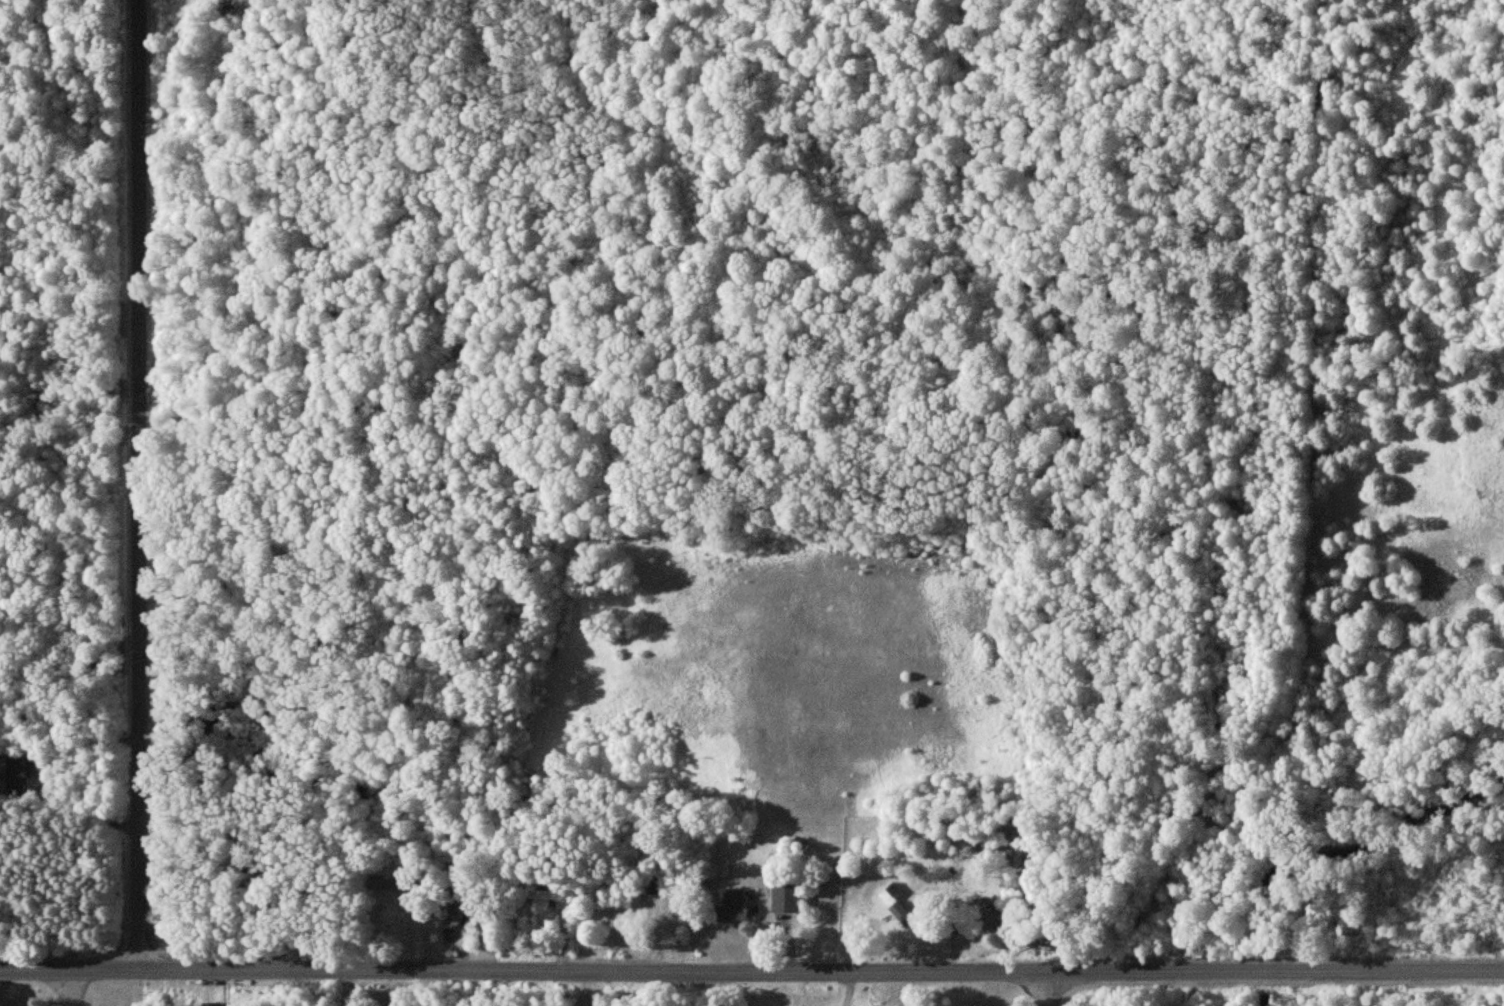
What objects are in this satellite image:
road: (140, 485)
building: (20, 772)
building: (390, 883)
building: (787, 896)
building: (542, 897)
building: (900, 904)
road: (752, 974)
road: (77, 988)
road: (1047, 990)
building: (210, 1004)

